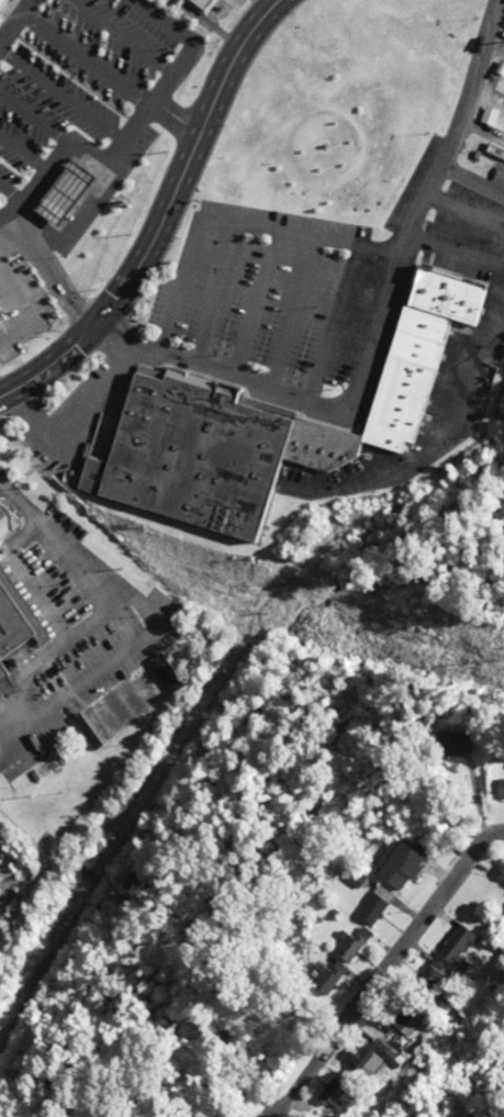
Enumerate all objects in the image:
building: (172, 1)
building: (199, 4)
building: (4, 7)
road: (16, 22)
road: (110, 75)
road: (478, 129)
road: (468, 178)
road: (461, 209)
road: (161, 215)
road: (300, 230)
road: (451, 253)
road: (49, 270)
road: (178, 283)
road: (214, 292)
road: (254, 301)
road: (293, 310)
road: (334, 319)
road: (370, 329)
road: (98, 391)
building: (265, 423)
road: (421, 447)
building: (13, 619)
power tower: (501, 659)
building: (0, 675)
building: (446, 744)
building: (499, 790)
building: (399, 865)
building: (501, 873)
building: (371, 908)
building: (352, 946)
building: (459, 948)
building: (434, 973)
building: (327, 976)
road: (383, 984)
building: (399, 1018)
building: (365, 1060)
building: (327, 1096)

